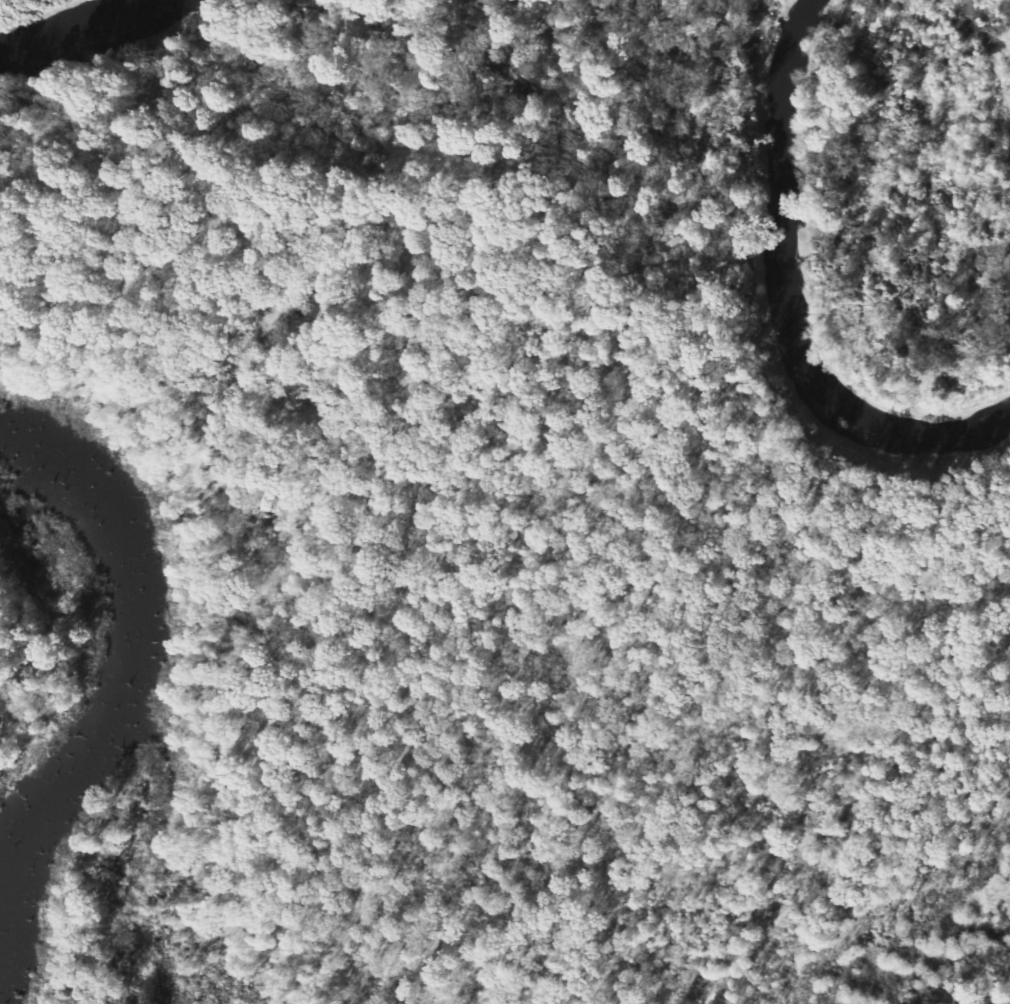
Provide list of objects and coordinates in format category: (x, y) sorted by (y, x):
river: (61, 31)
river: (776, 297)

